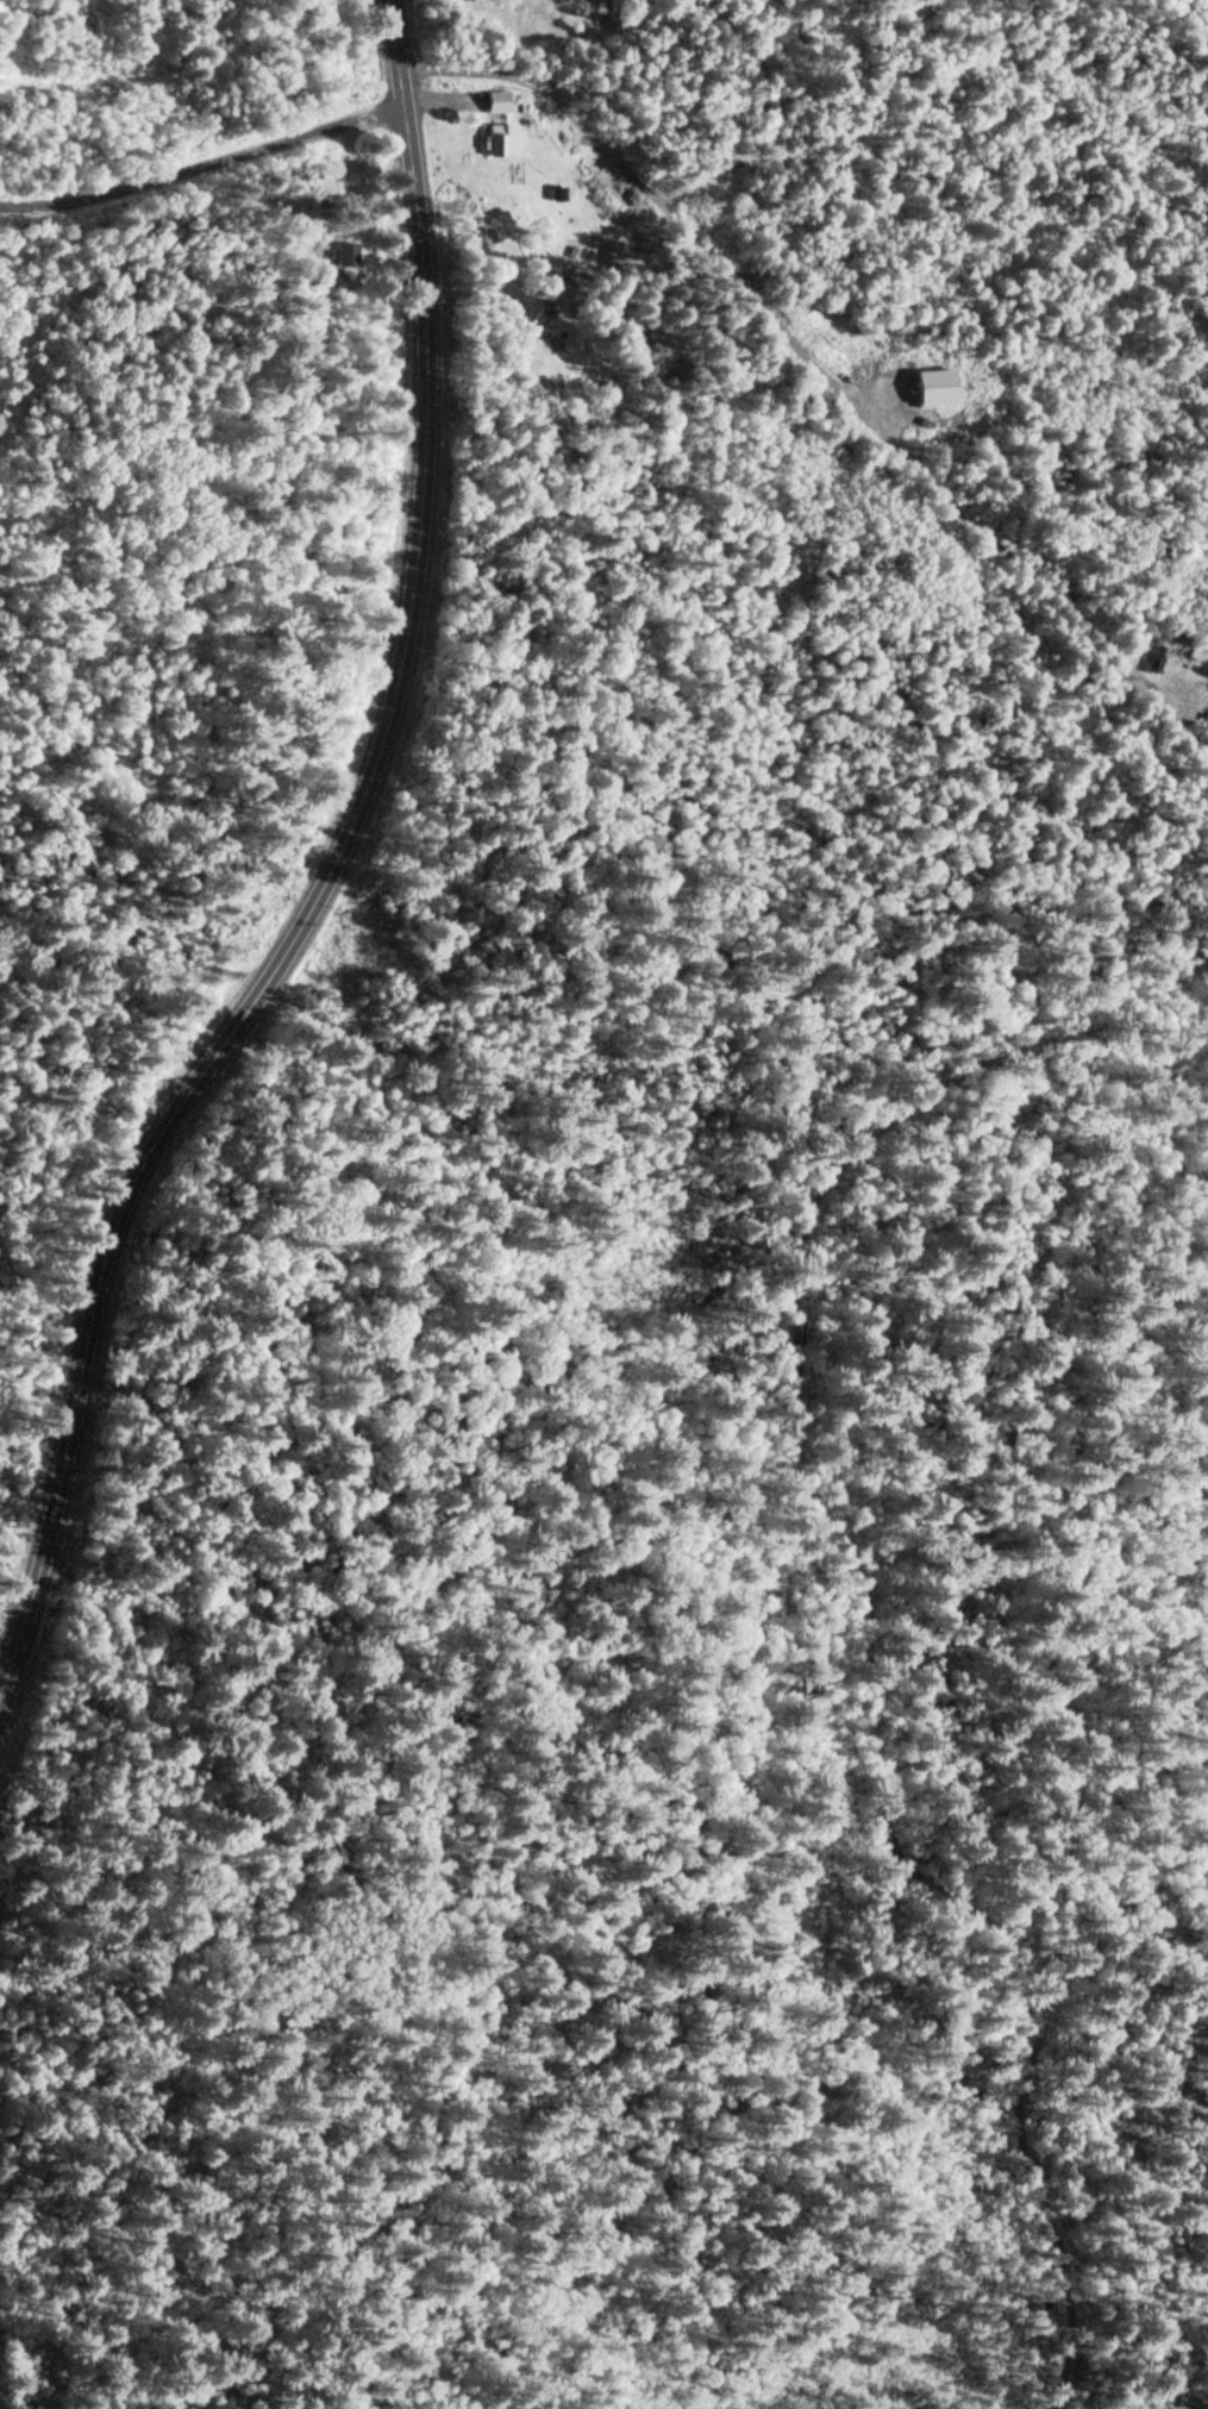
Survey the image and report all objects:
building: (499, 140)
road: (204, 165)
building: (346, 254)
building: (927, 384)
building: (1153, 658)
road: (331, 874)

